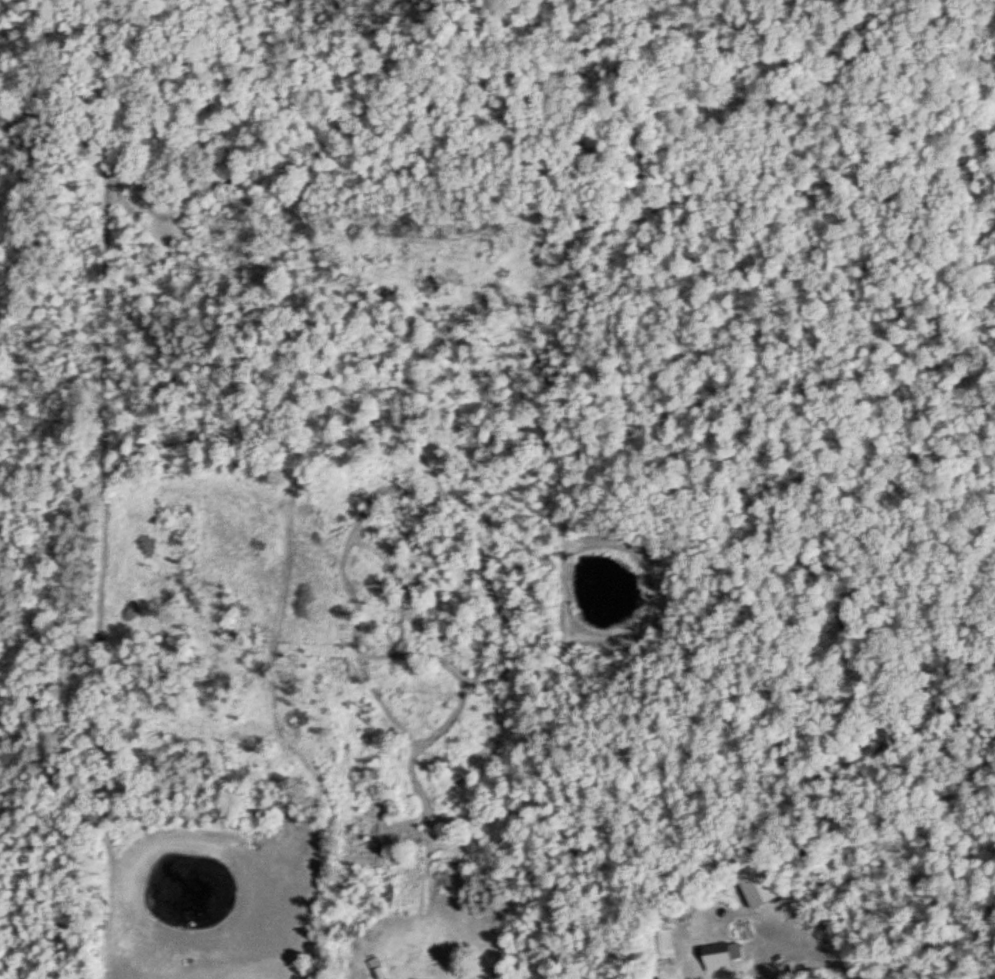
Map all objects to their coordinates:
building: (752, 885)
building: (656, 934)
road: (796, 950)
building: (717, 954)
building: (413, 978)

